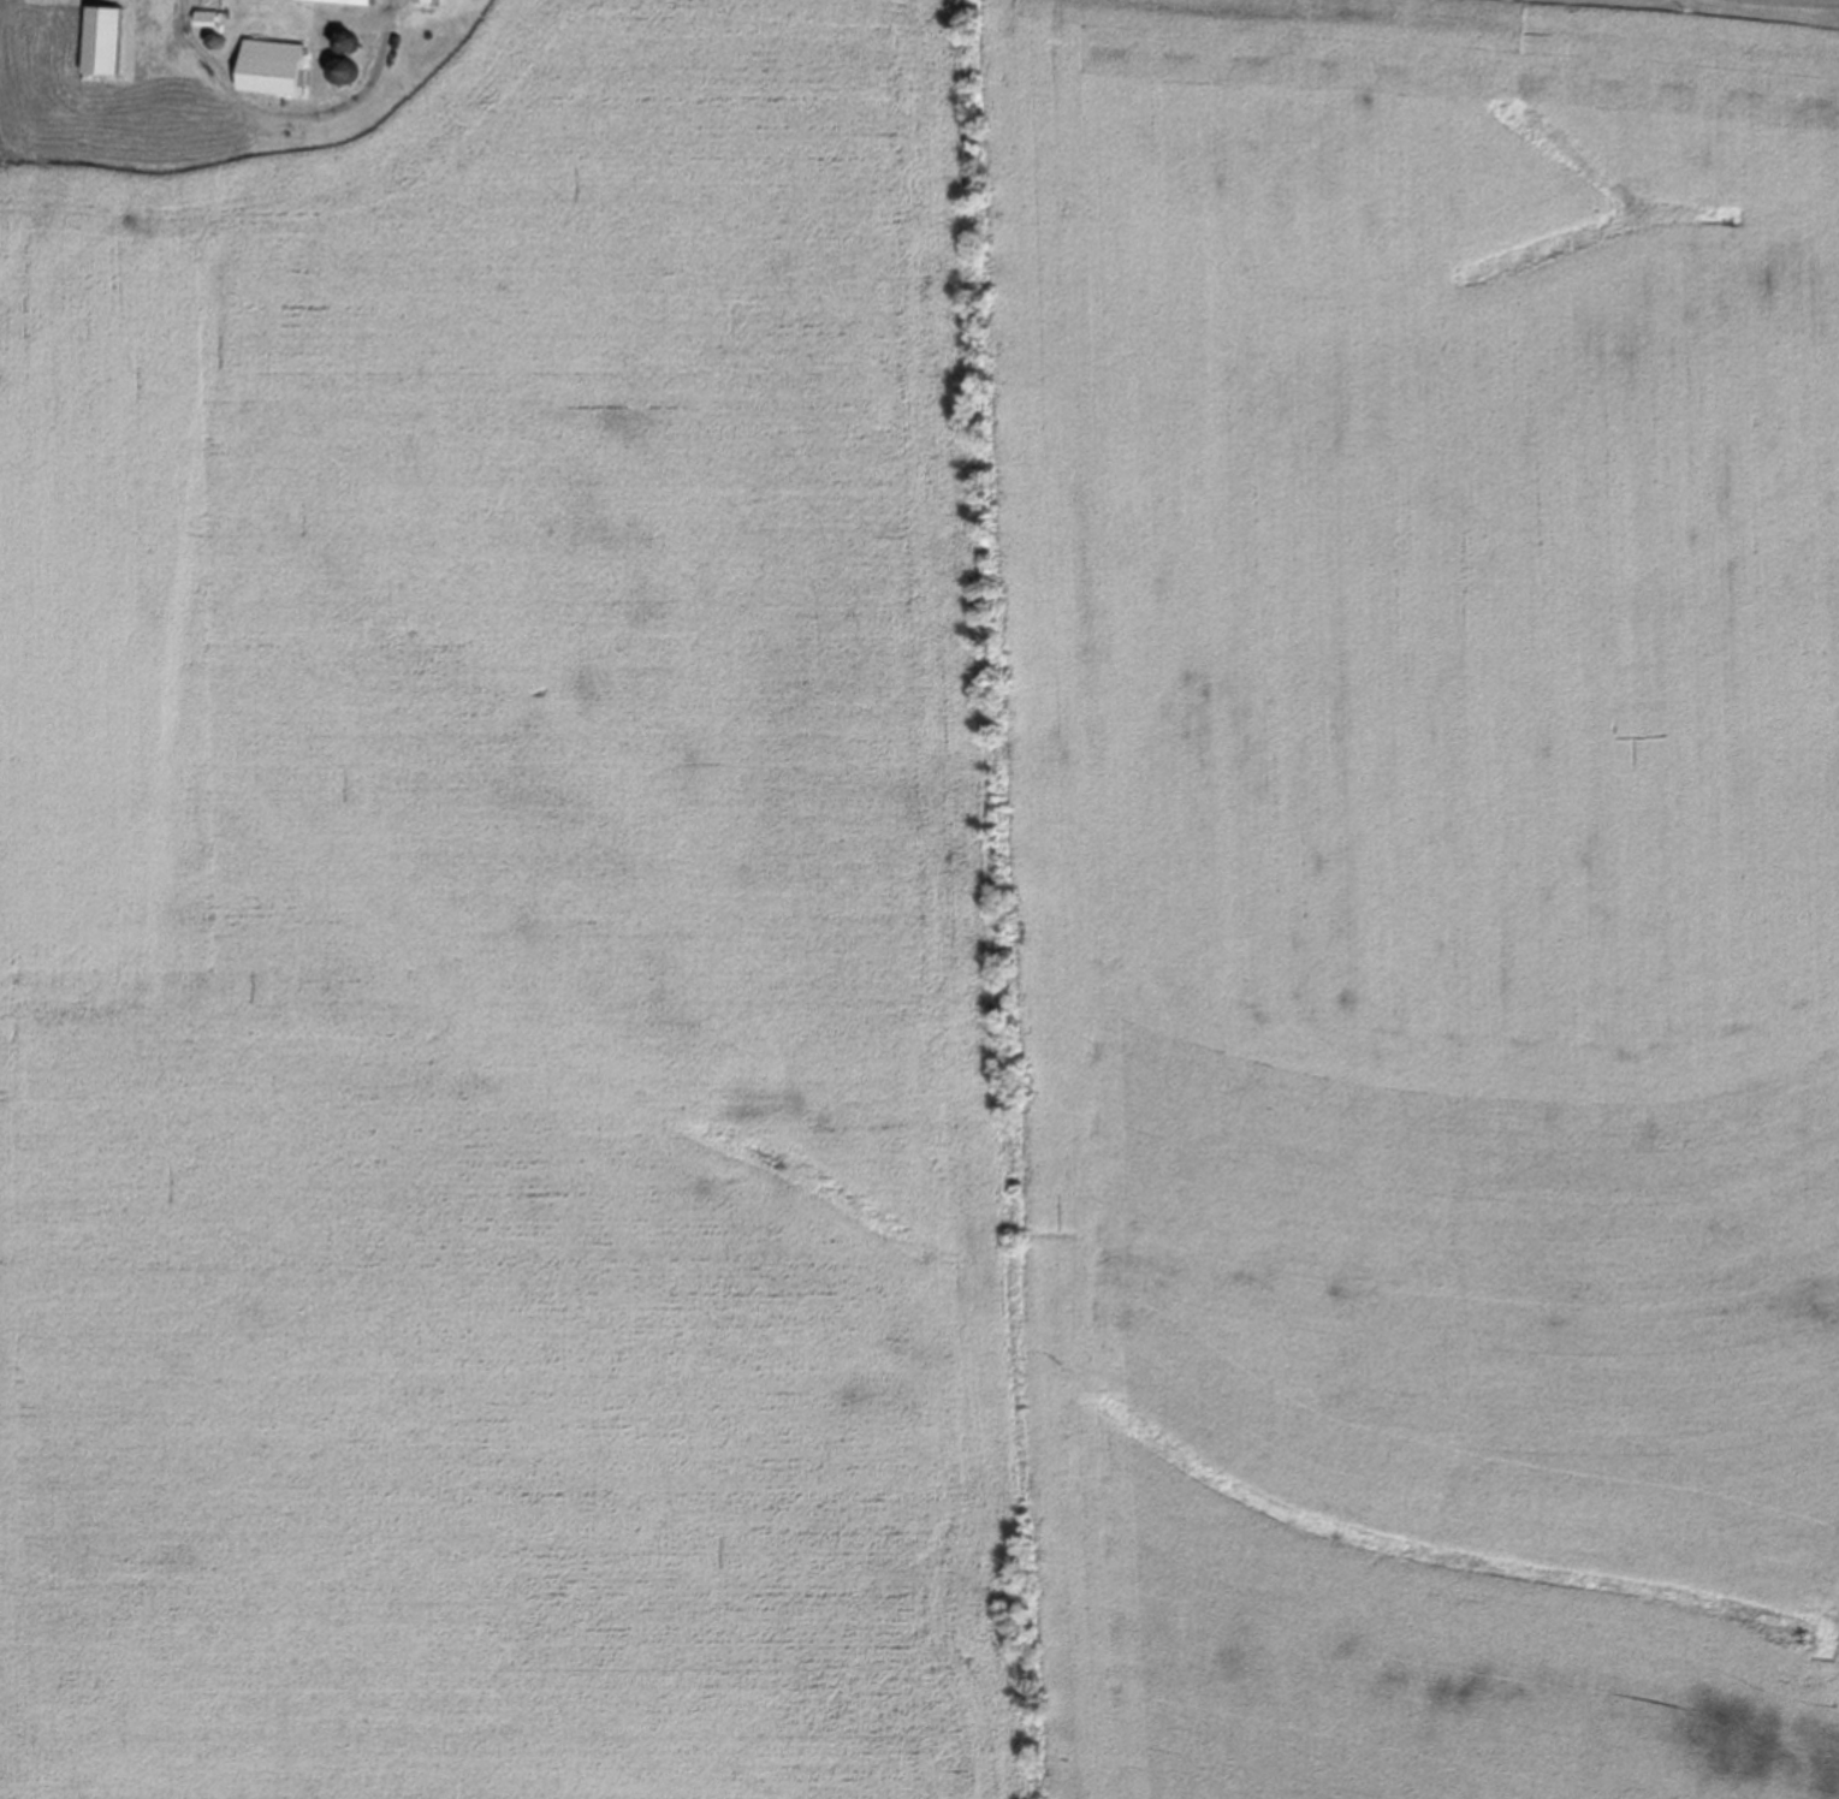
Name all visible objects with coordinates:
building: (354, 1)
building: (434, 1)
building: (156, 18)

